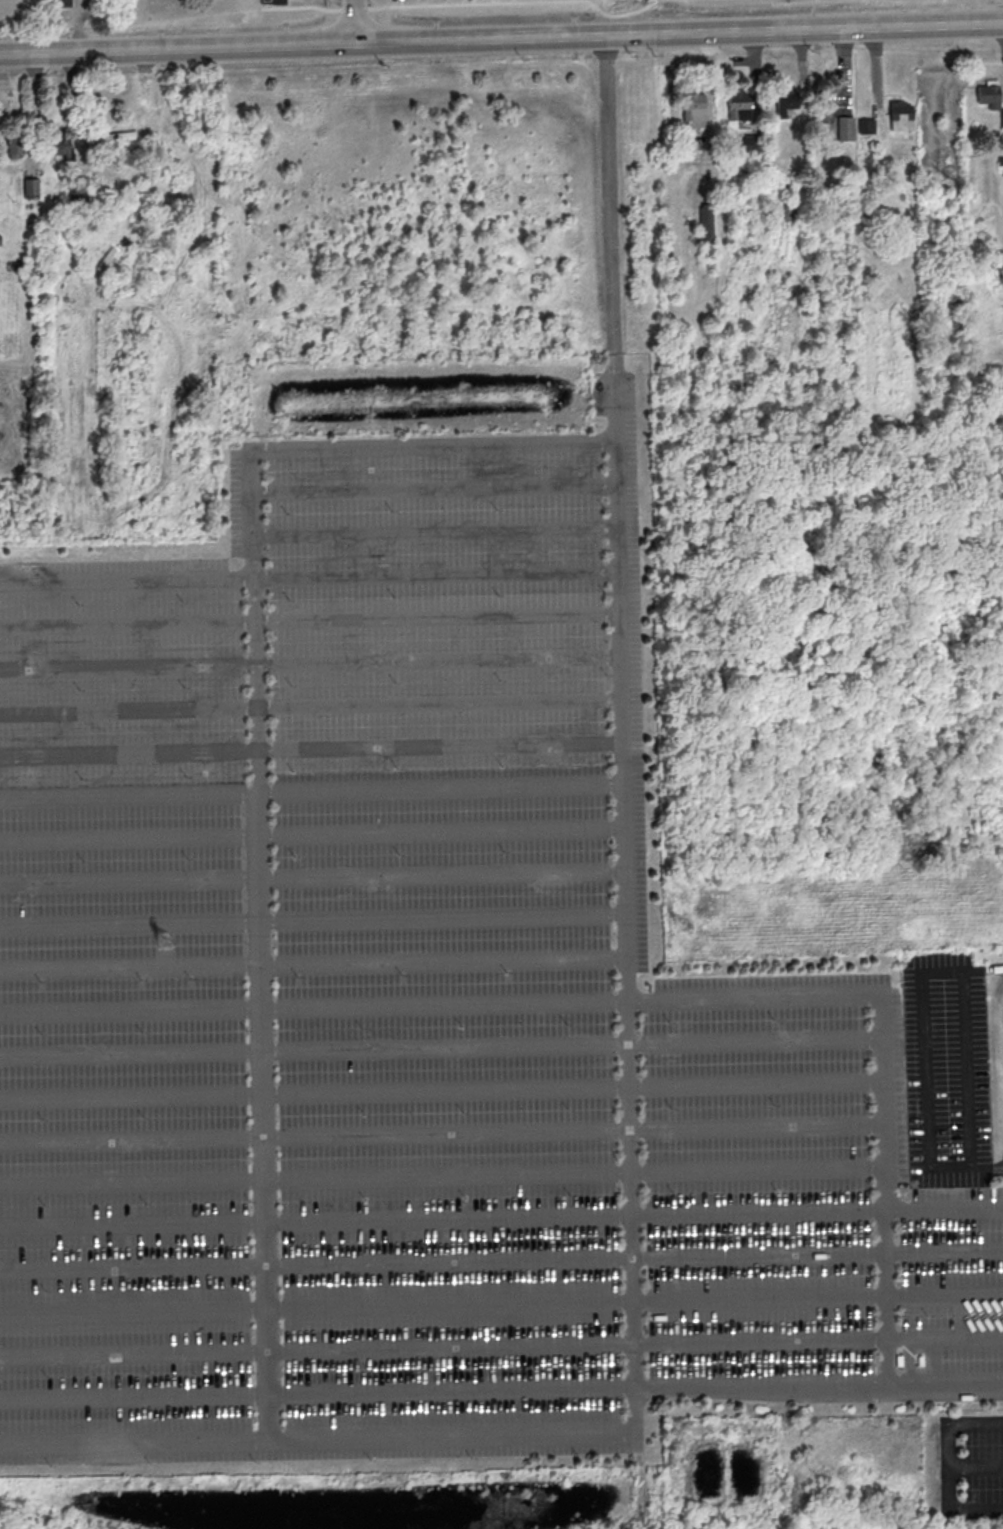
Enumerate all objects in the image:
building: (279, 1)
building: (62, 2)
road: (352, 21)
road: (804, 31)
road: (302, 43)
building: (988, 91)
building: (831, 97)
building: (786, 102)
building: (738, 104)
building: (694, 109)
building: (1001, 114)
building: (900, 115)
building: (865, 124)
building: (845, 127)
building: (15, 140)
building: (746, 142)
building: (58, 146)
building: (80, 184)
building: (30, 185)
building: (706, 222)
road: (613, 233)
road: (435, 485)
road: (436, 531)
road: (310, 579)
road: (311, 619)
road: (311, 661)
road: (312, 704)
road: (312, 749)
road: (254, 756)
road: (312, 789)
road: (313, 830)
road: (313, 873)
road: (313, 918)
power tower: (682, 923)
road: (627, 930)
power tower: (163, 940)
road: (314, 961)
road: (439, 1003)
parking lot: (414, 1008)
road: (439, 1043)
road: (440, 1086)
road: (440, 1130)
road: (440, 1173)
road: (882, 1188)
road: (501, 1214)
road: (501, 1259)
road: (501, 1301)
road: (501, 1345)
road: (501, 1387)
road: (975, 1424)
road: (317, 1437)
road: (975, 1465)
parking lot: (970, 1466)
road: (948, 1493)

